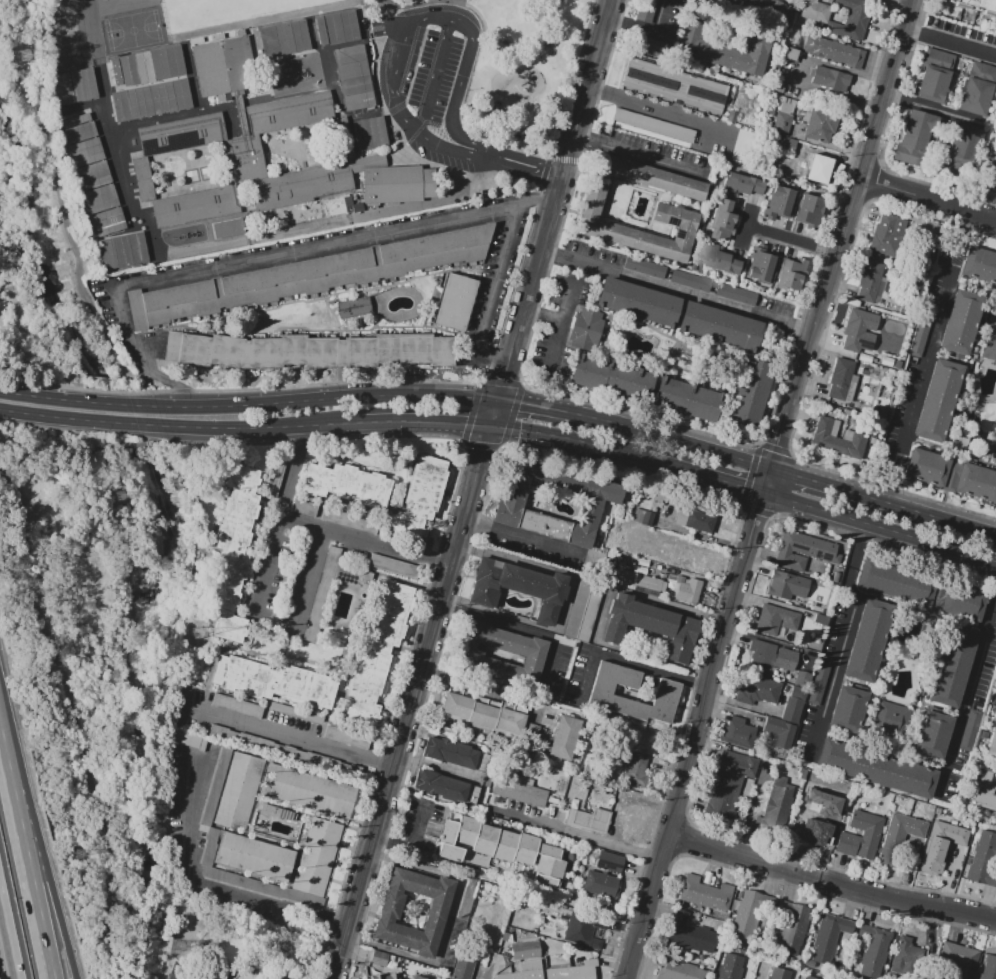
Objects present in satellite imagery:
road: (416, 4)
building: (975, 6)
building: (645, 10)
building: (767, 10)
park: (145, 11)
building: (813, 11)
road: (392, 12)
road: (445, 17)
building: (850, 20)
building: (341, 26)
building: (321, 30)
road: (491, 31)
building: (283, 37)
road: (950, 42)
building: (652, 47)
building: (723, 49)
building: (831, 52)
power tower: (20, 53)
building: (787, 54)
road: (406, 61)
building: (137, 64)
building: (224, 66)
building: (115, 70)
building: (174, 70)
road: (433, 75)
building: (934, 76)
building: (354, 77)
building: (780, 78)
building: (136, 79)
building: (828, 79)
parking lot: (432, 81)
building: (71, 86)
building: (673, 87)
building: (777, 88)
building: (978, 91)
park: (517, 96)
building: (182, 97)
building: (156, 102)
building: (141, 106)
road: (932, 108)
park: (104, 110)
road: (664, 111)
building: (289, 112)
park: (71, 115)
building: (780, 124)
building: (651, 125)
building: (819, 126)
building: (181, 133)
building: (369, 133)
building: (915, 138)
building: (81, 139)
building: (785, 146)
building: (961, 146)
road: (639, 154)
building: (811, 166)
road: (531, 173)
building: (92, 174)
building: (990, 174)
building: (647, 177)
building: (392, 180)
road: (562, 181)
building: (740, 184)
building: (252, 187)
building: (100, 197)
road: (927, 200)
building: (778, 201)
building: (804, 209)
building: (107, 221)
building: (720, 222)
building: (590, 223)
road: (746, 226)
building: (220, 228)
building: (888, 236)
road: (791, 239)
road: (838, 246)
building: (121, 249)
road: (265, 253)
building: (716, 259)
building: (979, 265)
building: (643, 266)
building: (757, 267)
building: (786, 274)
building: (307, 276)
building: (689, 279)
building: (870, 280)
road: (678, 290)
building: (995, 290)
road: (491, 291)
building: (735, 293)
building: (451, 302)
building: (633, 302)
building: (352, 306)
road: (559, 316)
building: (960, 323)
building: (713, 325)
building: (584, 327)
building: (861, 330)
building: (919, 334)
road: (551, 343)
building: (989, 344)
building: (310, 352)
road: (929, 357)
building: (607, 377)
traffic signals: (504, 378)
building: (841, 378)
road: (502, 382)
building: (747, 393)
building: (687, 400)
building: (939, 401)
traffic signals: (520, 404)
road: (248, 406)
road: (547, 408)
road: (395, 422)
traffic signals: (464, 423)
road: (150, 424)
road: (561, 438)
building: (836, 439)
road: (685, 444)
traffic signals: (482, 451)
road: (117, 452)
road: (698, 474)
building: (951, 475)
building: (347, 484)
road: (843, 489)
power tower: (117, 498)
building: (422, 498)
building: (506, 504)
building: (303, 506)
building: (643, 516)
road: (280, 520)
building: (699, 522)
road: (955, 522)
road: (880, 527)
road: (366, 538)
road: (525, 542)
building: (801, 551)
building: (234, 553)
building: (394, 566)
road: (308, 580)
building: (640, 581)
building: (893, 582)
building: (519, 586)
building: (785, 587)
building: (688, 593)
building: (319, 601)
road: (567, 603)
building: (959, 603)
building: (578, 605)
building: (590, 608)
road: (601, 613)
building: (821, 619)
building: (774, 620)
building: (649, 625)
road: (521, 630)
power tower: (195, 634)
road: (841, 639)
building: (864, 642)
building: (464, 654)
building: (379, 657)
building: (767, 658)
road: (625, 662)
road: (59, 664)
building: (949, 667)
road: (418, 676)
building: (802, 678)
building: (276, 682)
building: (817, 683)
road: (480, 686)
road: (966, 691)
building: (756, 692)
building: (662, 693)
building: (793, 704)
building: (237, 705)
road: (754, 708)
building: (842, 714)
building: (482, 715)
building: (884, 715)
road: (265, 728)
building: (969, 729)
building: (738, 733)
building: (778, 733)
road: (695, 735)
building: (928, 735)
building: (345, 737)
building: (563, 737)
building: (991, 740)
building: (447, 753)
building: (875, 768)
building: (634, 770)
building: (801, 773)
building: (728, 782)
building: (812, 783)
building: (437, 786)
building: (309, 791)
building: (240, 792)
building: (522, 792)
building: (983, 793)
building: (777, 802)
building: (821, 802)
road: (749, 810)
building: (277, 811)
building: (588, 819)
building: (814, 826)
building: (869, 835)
road: (577, 836)
building: (896, 837)
road: (414, 844)
building: (939, 846)
building: (498, 849)
road: (43, 852)
road: (25, 854)
power tower: (77, 855)
building: (318, 856)
building: (256, 857)
building: (983, 859)
building: (608, 861)
road: (450, 873)
building: (236, 879)
road: (148, 881)
road: (830, 884)
road: (199, 886)
building: (598, 888)
building: (704, 894)
building: (466, 897)
building: (385, 912)
building: (743, 917)
road: (107, 922)
road: (263, 924)
building: (791, 927)
building: (582, 929)
building: (688, 934)
building: (825, 937)
road: (7, 941)
road: (191, 943)
park: (243, 945)
power tower: (178, 947)
building: (525, 950)
building: (872, 951)
building: (904, 956)
building: (377, 959)
building: (958, 959)
road: (336, 966)
building: (728, 967)
building: (987, 968)
building: (461, 969)
building: (678, 970)
building: (555, 972)
building: (779, 973)
building: (386, 976)
building: (424, 976)
building: (808, 977)

